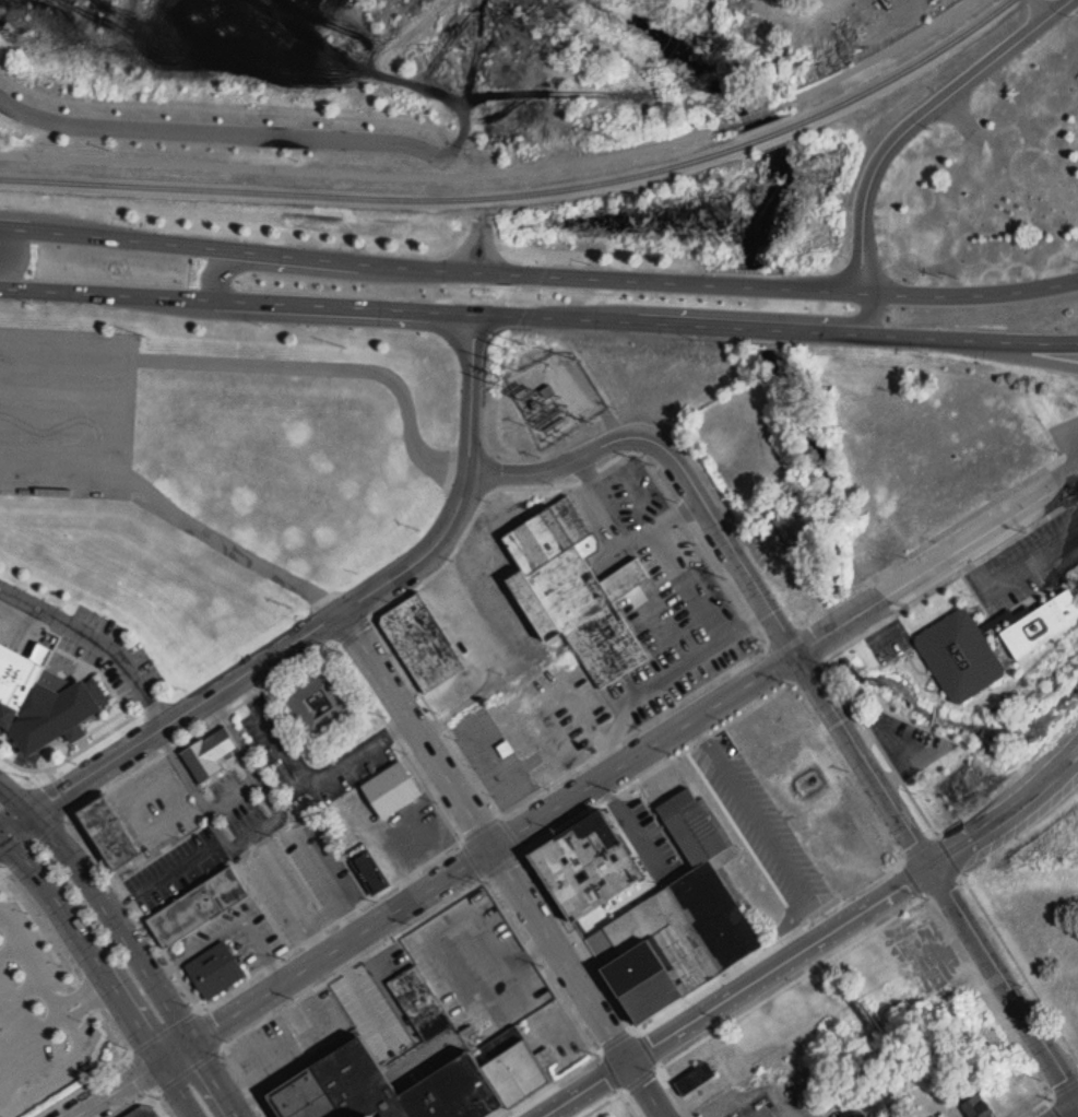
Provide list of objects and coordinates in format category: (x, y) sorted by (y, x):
road: (875, 55)
road: (215, 108)
road: (747, 115)
road: (920, 118)
road: (215, 131)
road: (358, 169)
railway: (524, 191)
road: (481, 247)
road: (12, 251)
road: (335, 271)
road: (538, 274)
road: (741, 314)
road: (538, 316)
road: (64, 337)
road: (1005, 353)
road: (329, 366)
power substation: (555, 395)
road: (127, 410)
building: (964, 465)
road: (181, 517)
building: (792, 528)
road: (624, 537)
road: (1033, 558)
road: (940, 569)
road: (688, 584)
building: (574, 589)
road: (748, 624)
building: (1040, 624)
road: (323, 631)
road: (100, 639)
building: (420, 642)
building: (958, 656)
road: (739, 662)
road: (819, 684)
road: (642, 686)
building: (46, 701)
building: (323, 704)
building: (209, 752)
road: (309, 780)
building: (390, 788)
road: (1008, 820)
road: (54, 825)
building: (690, 825)
building: (110, 830)
road: (254, 830)
road: (459, 839)
road: (760, 842)
road: (3, 844)
building: (585, 863)
building: (367, 867)
road: (506, 867)
parking lot: (176, 869)
road: (163, 877)
parking lot: (301, 878)
road: (439, 886)
building: (198, 906)
road: (230, 928)
parking lot: (241, 934)
building: (673, 940)
road: (130, 942)
road: (9, 950)
road: (29, 961)
parking lot: (477, 966)
building: (214, 968)
road: (100, 972)
road: (81, 990)
building: (406, 990)
road: (21, 991)
road: (742, 992)
road: (90, 1003)
road: (94, 1009)
road: (62, 1011)
parking lot: (40, 1021)
road: (31, 1028)
road: (78, 1032)
building: (511, 1063)
road: (44, 1073)
building: (694, 1079)
building: (380, 1087)
building: (976, 1107)
building: (142, 1112)
road: (1069, 1112)
building: (852, 1115)

